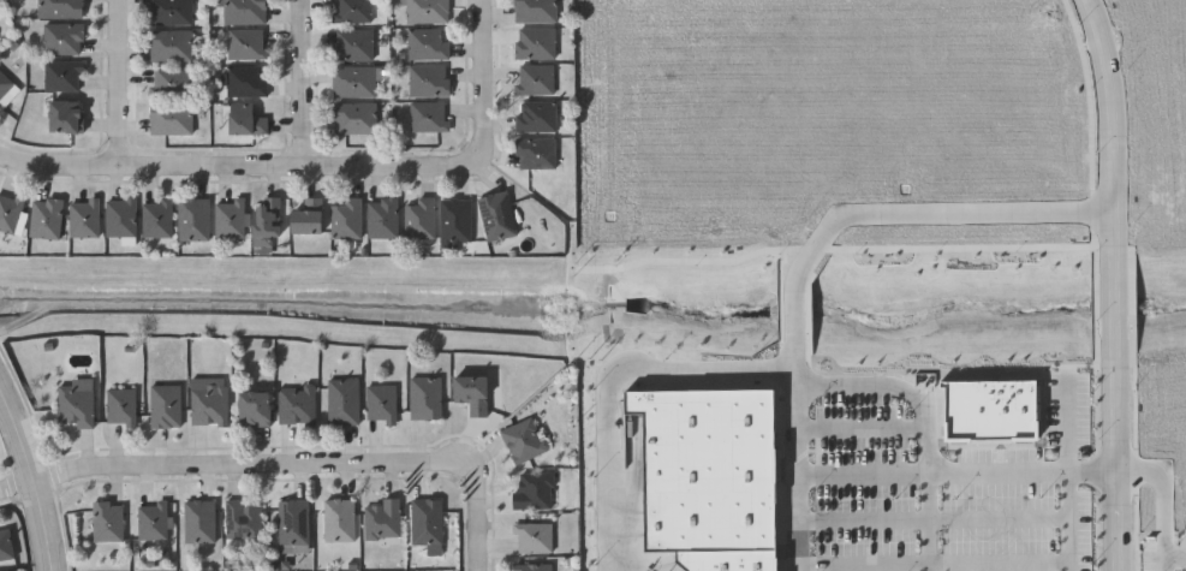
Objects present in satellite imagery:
building: (59, 10)
building: (351, 11)
building: (534, 11)
building: (169, 12)
building: (244, 12)
building: (425, 12)
road: (1167, 37)
road: (1148, 38)
building: (62, 40)
building: (427, 43)
building: (535, 43)
building: (245, 44)
building: (171, 46)
building: (352, 46)
building: (60, 76)
building: (535, 79)
building: (428, 81)
road: (1149, 81)
building: (168, 82)
building: (246, 82)
building: (353, 82)
road: (485, 83)
road: (300, 84)
road: (120, 85)
building: (1, 87)
building: (65, 117)
building: (428, 117)
building: (535, 117)
building: (171, 119)
building: (353, 119)
building: (245, 120)
road: (1114, 120)
building: (535, 153)
road: (242, 169)
building: (10, 212)
road: (935, 212)
building: (496, 216)
building: (119, 218)
building: (309, 218)
road: (1151, 218)
building: (44, 219)
building: (83, 219)
building: (155, 219)
building: (228, 219)
building: (345, 219)
building: (382, 219)
building: (419, 219)
building: (192, 220)
building: (455, 221)
building: (266, 225)
road: (1118, 304)
road: (786, 309)
road: (610, 375)
road: (887, 386)
building: (472, 392)
building: (424, 397)
building: (208, 400)
building: (342, 400)
building: (75, 402)
building: (380, 403)
building: (296, 404)
building: (120, 405)
building: (165, 405)
building: (255, 408)
building: (993, 411)
road: (1071, 424)
road: (795, 427)
road: (863, 429)
building: (520, 441)
road: (252, 464)
building: (710, 468)
road: (1119, 468)
road: (910, 472)
road: (37, 475)
road: (20, 489)
building: (531, 490)
road: (1072, 493)
road: (1164, 504)
road: (482, 517)
road: (961, 518)
building: (198, 519)
building: (240, 519)
building: (338, 519)
building: (381, 519)
building: (106, 521)
building: (153, 521)
building: (292, 522)
road: (929, 522)
building: (427, 524)
building: (531, 537)
building: (5, 546)
road: (1175, 557)
building: (741, 563)
road: (936, 563)
building: (531, 566)

